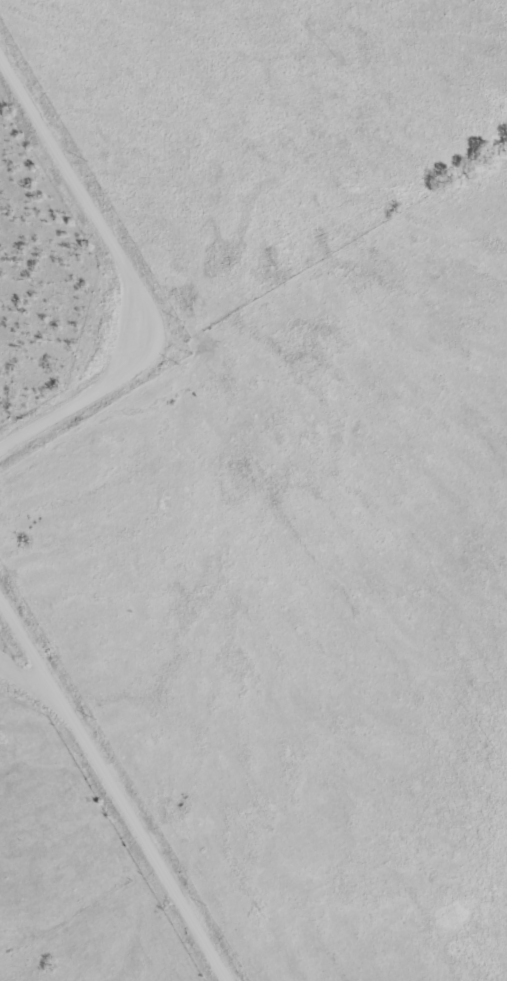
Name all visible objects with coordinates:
road: (133, 269)
road: (117, 784)

